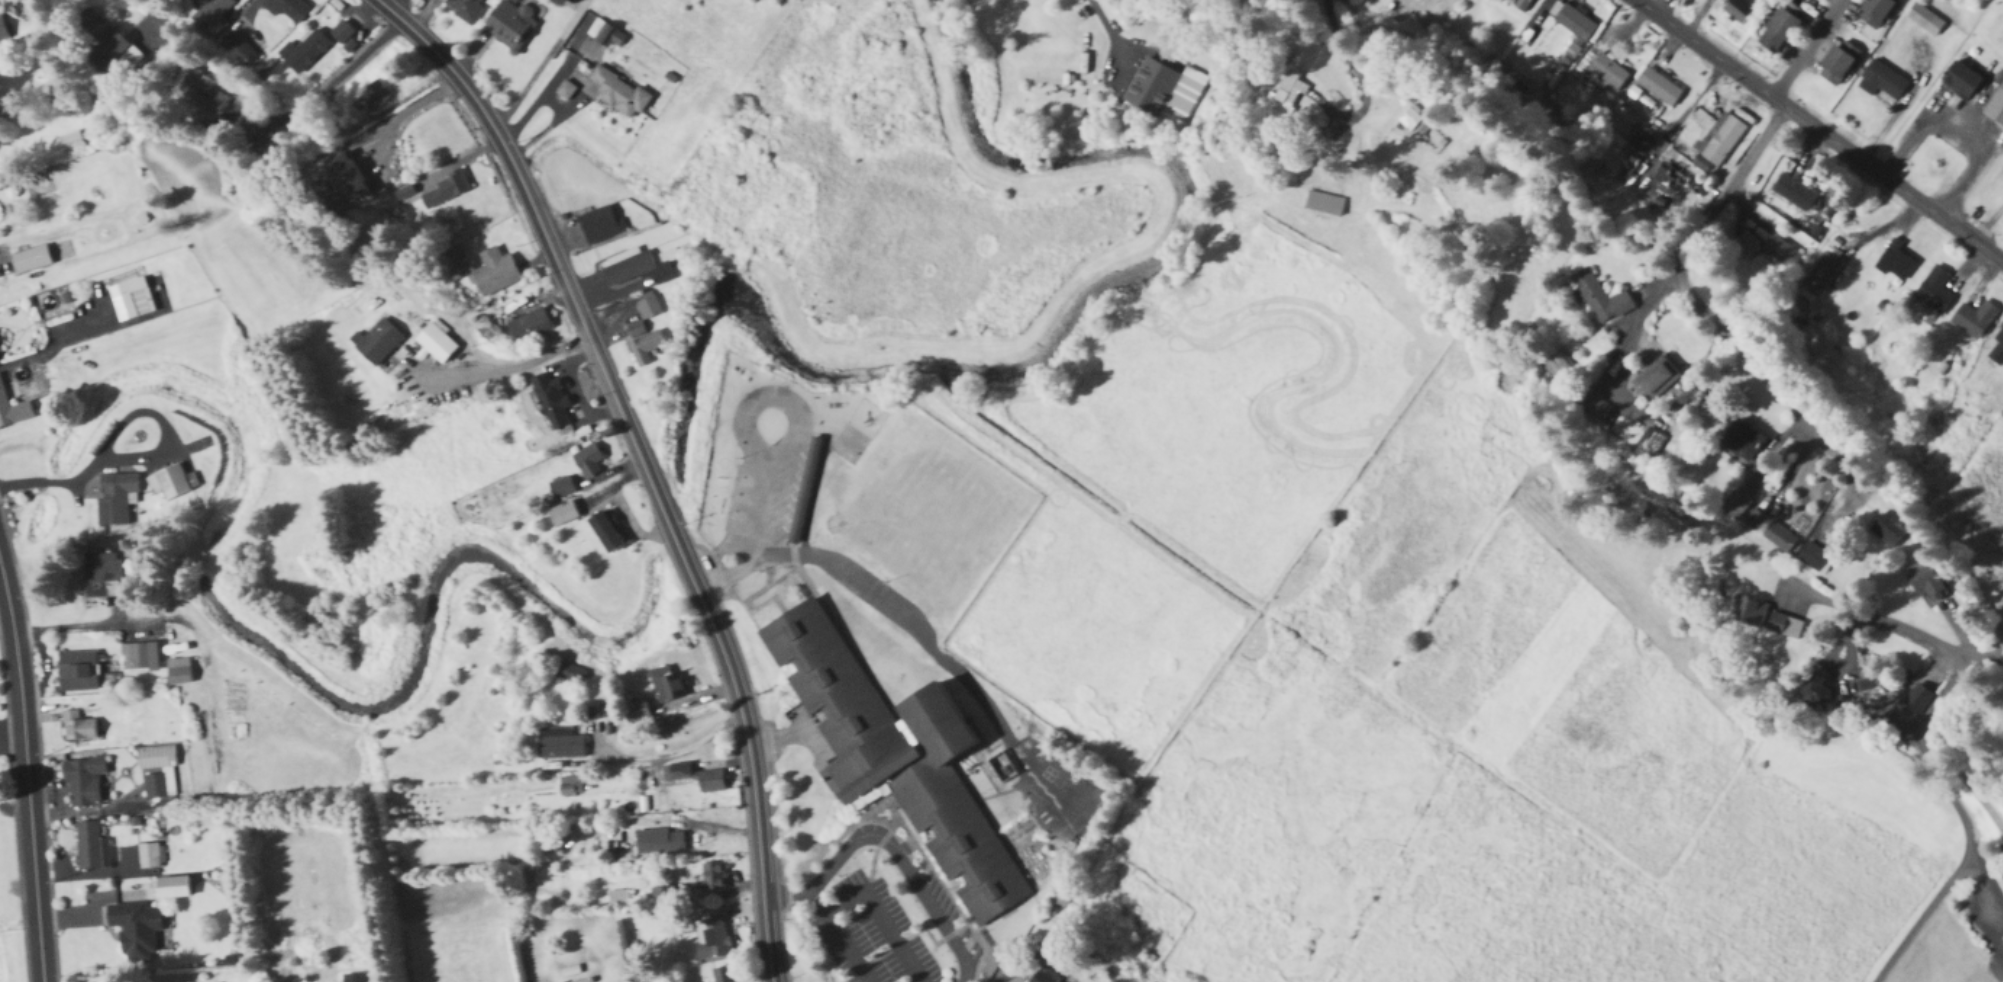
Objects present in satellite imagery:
building: (1499, 0)
road: (390, 5)
building: (1521, 5)
building: (286, 8)
building: (463, 8)
building: (1738, 10)
building: (1875, 12)
building: (215, 14)
building: (1924, 19)
building: (1574, 23)
building: (510, 24)
building: (1777, 31)
building: (3, 32)
road: (1112, 33)
building: (342, 35)
building: (599, 40)
building: (104, 44)
road: (1804, 49)
building: (238, 50)
building: (303, 52)
building: (1837, 63)
building: (1608, 72)
road: (1355, 73)
road: (333, 79)
building: (1960, 81)
building: (1882, 83)
building: (1658, 88)
building: (565, 93)
building: (618, 94)
building: (203, 95)
building: (1162, 95)
building: (1290, 95)
road: (1730, 96)
building: (372, 97)
road: (556, 103)
road: (1683, 103)
building: (1996, 107)
road: (404, 108)
building: (1412, 120)
road: (1819, 132)
road: (1959, 134)
building: (70, 142)
building: (1722, 142)
building: (344, 179)
road: (1732, 184)
building: (1690, 186)
building: (444, 192)
building: (1793, 194)
building: (1323, 205)
building: (599, 226)
road: (546, 235)
building: (1781, 254)
building: (30, 260)
building: (1894, 265)
building: (635, 268)
building: (482, 270)
building: (1821, 275)
building: (1935, 292)
building: (1604, 299)
building: (132, 306)
building: (648, 306)
building: (1974, 320)
building: (529, 326)
building: (636, 332)
road: (1636, 336)
building: (378, 344)
building: (435, 344)
building: (645, 348)
building: (1998, 354)
building: (1827, 355)
road: (508, 367)
building: (1561, 367)
road: (1763, 368)
building: (1660, 380)
building: (1983, 397)
road: (762, 399)
building: (550, 402)
building: (1599, 406)
building: (12, 411)
road: (156, 422)
building: (1746, 442)
building: (1654, 444)
building: (588, 461)
road: (52, 481)
building: (169, 482)
building: (561, 488)
building: (804, 490)
building: (115, 498)
parking lot: (781, 500)
building: (1739, 506)
building: (561, 514)
park: (938, 514)
building: (1891, 525)
road: (747, 526)
building: (604, 532)
building: (1774, 533)
road: (751, 535)
building: (1817, 558)
building: (102, 576)
building: (1929, 586)
building: (1752, 614)
road: (131, 621)
road: (1887, 625)
road: (8, 626)
building: (1787, 627)
road: (926, 647)
road: (45, 655)
building: (139, 657)
building: (78, 672)
building: (178, 672)
road: (1989, 672)
building: (568, 674)
building: (670, 687)
building: (1817, 694)
building: (1918, 700)
building: (638, 712)
building: (77, 728)
road: (745, 736)
building: (559, 744)
road: (676, 751)
building: (892, 754)
building: (156, 758)
road: (31, 776)
building: (695, 777)
building: (83, 782)
building: (154, 786)
building: (570, 786)
road: (1967, 825)
building: (659, 841)
building: (88, 845)
road: (891, 846)
building: (713, 876)
parking lot: (937, 897)
building: (1060, 897)
road: (881, 919)
building: (135, 927)
parking lot: (868, 934)
road: (836, 936)
building: (715, 937)
building: (722, 974)
road: (1004, 974)
building: (1045, 975)

